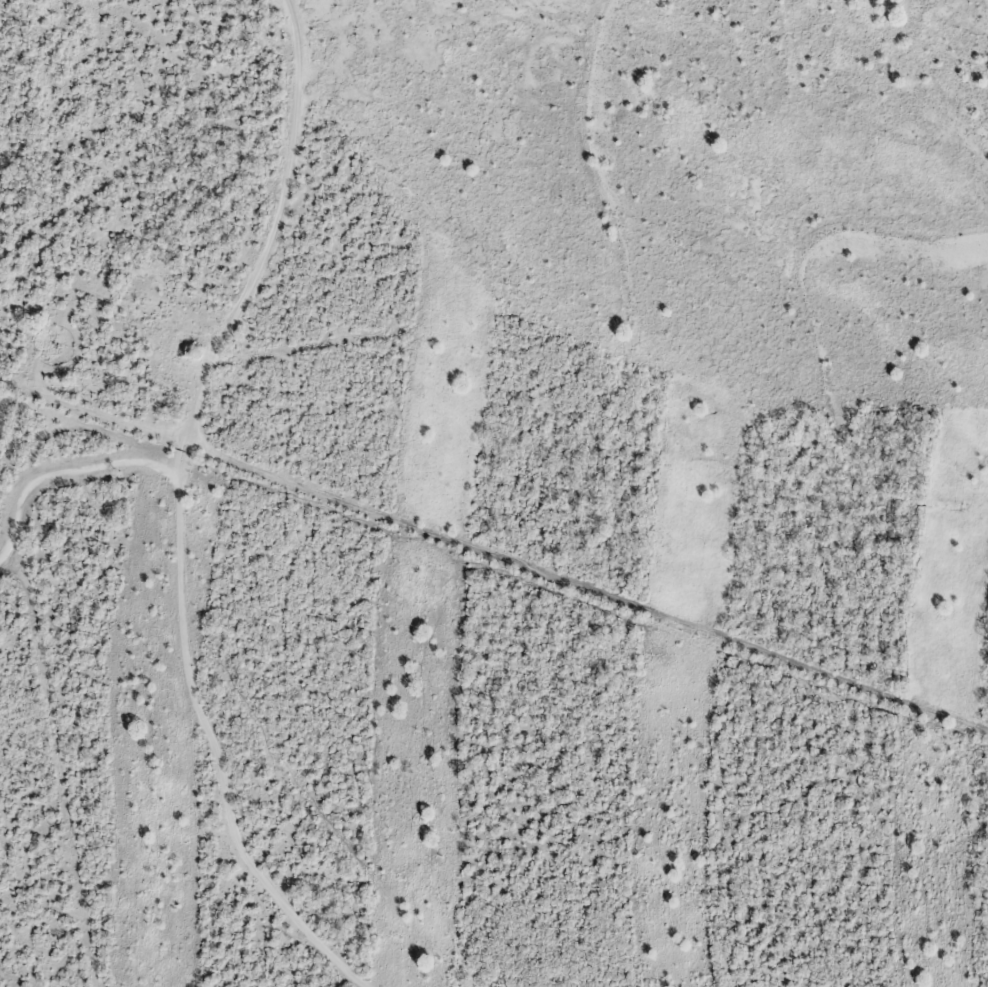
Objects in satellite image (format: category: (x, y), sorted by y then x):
road: (64, 467)
road: (178, 513)

